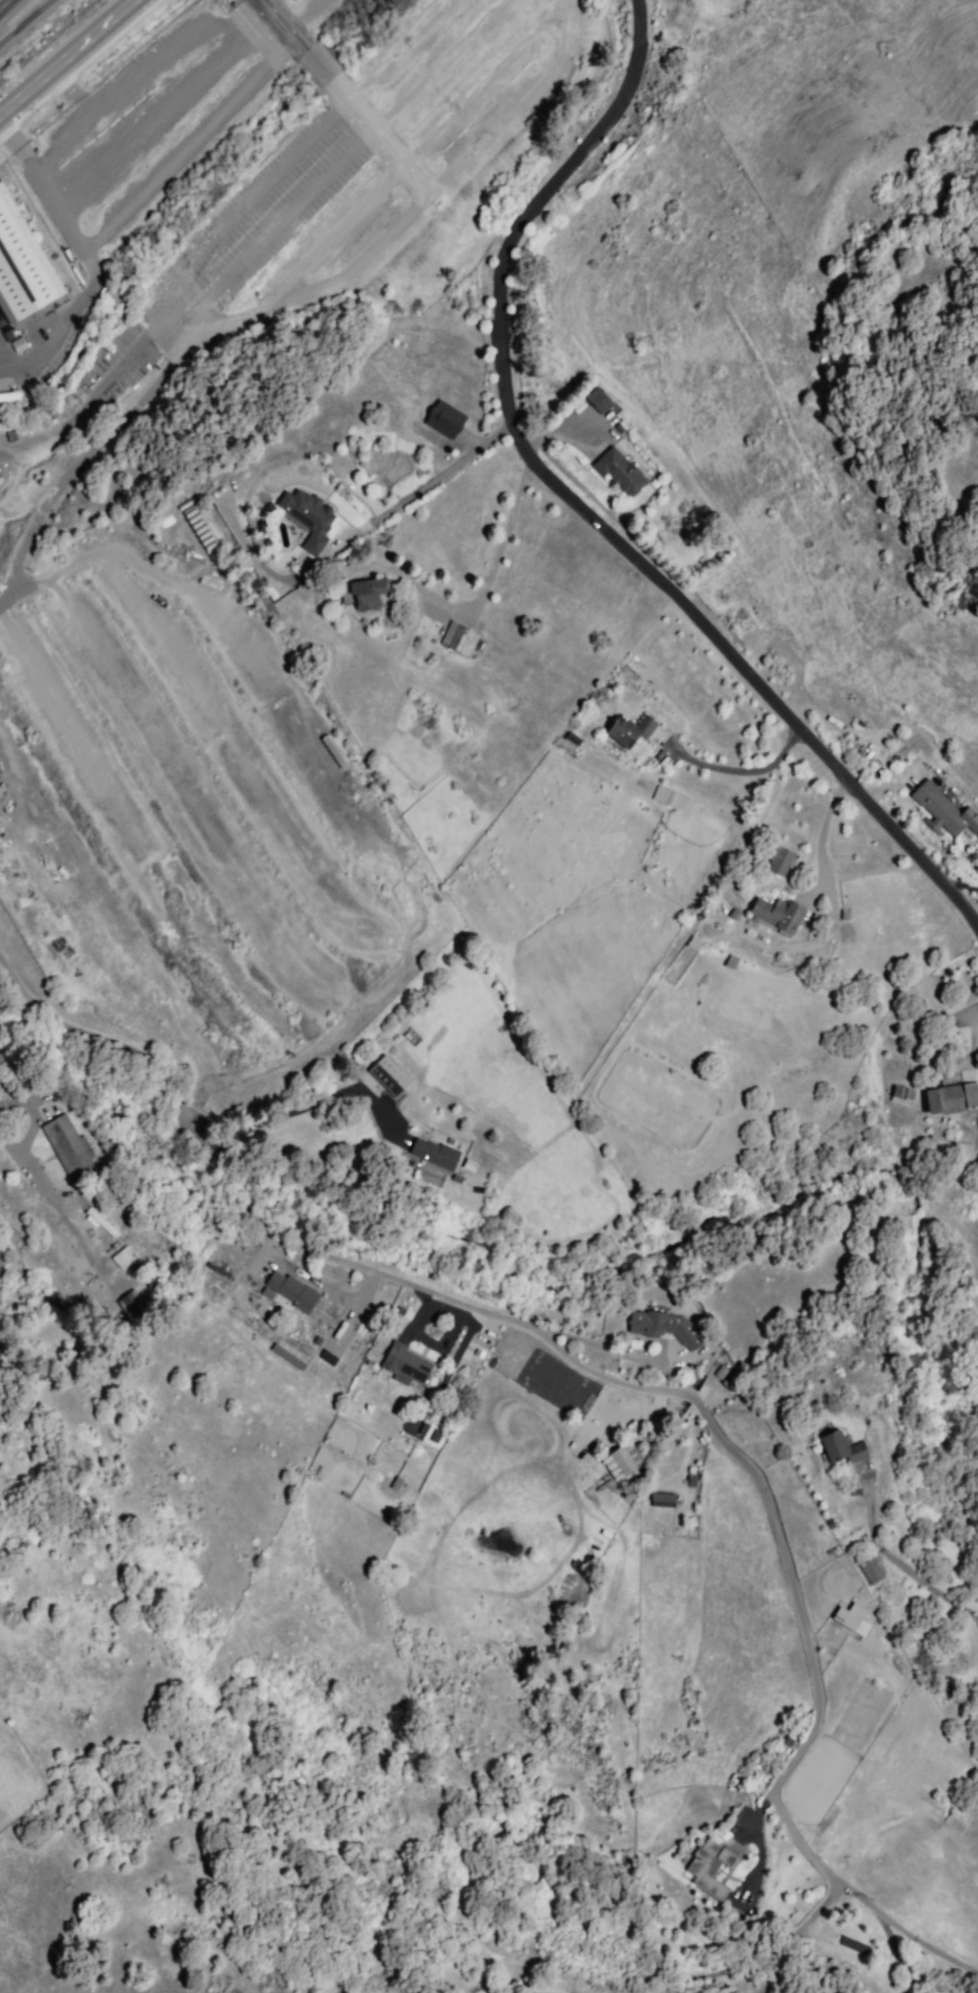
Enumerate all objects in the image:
road: (8, 8)
road: (24, 17)
road: (278, 28)
road: (68, 62)
road: (316, 72)
road: (383, 147)
building: (22, 264)
building: (4, 396)
building: (599, 400)
building: (447, 417)
building: (619, 470)
road: (584, 509)
building: (309, 516)
road: (339, 550)
building: (368, 594)
building: (422, 636)
building: (461, 639)
building: (647, 724)
building: (621, 734)
road: (745, 772)
building: (673, 800)
building: (479, 806)
building: (939, 807)
road: (822, 845)
building: (779, 863)
building: (976, 868)
building: (780, 915)
building: (385, 1078)
building: (903, 1093)
building: (953, 1097)
road: (278, 1120)
building: (68, 1146)
building: (434, 1153)
building: (102, 1221)
building: (126, 1257)
building: (294, 1292)
building: (131, 1303)
building: (666, 1327)
road: (586, 1345)
building: (405, 1364)
building: (430, 1434)
building: (841, 1447)
building: (622, 1461)
building: (694, 1477)
building: (664, 1500)
road: (903, 1568)
building: (870, 1569)
building: (848, 1615)
building: (708, 1866)
road: (936, 1951)
road: (765, 1952)

